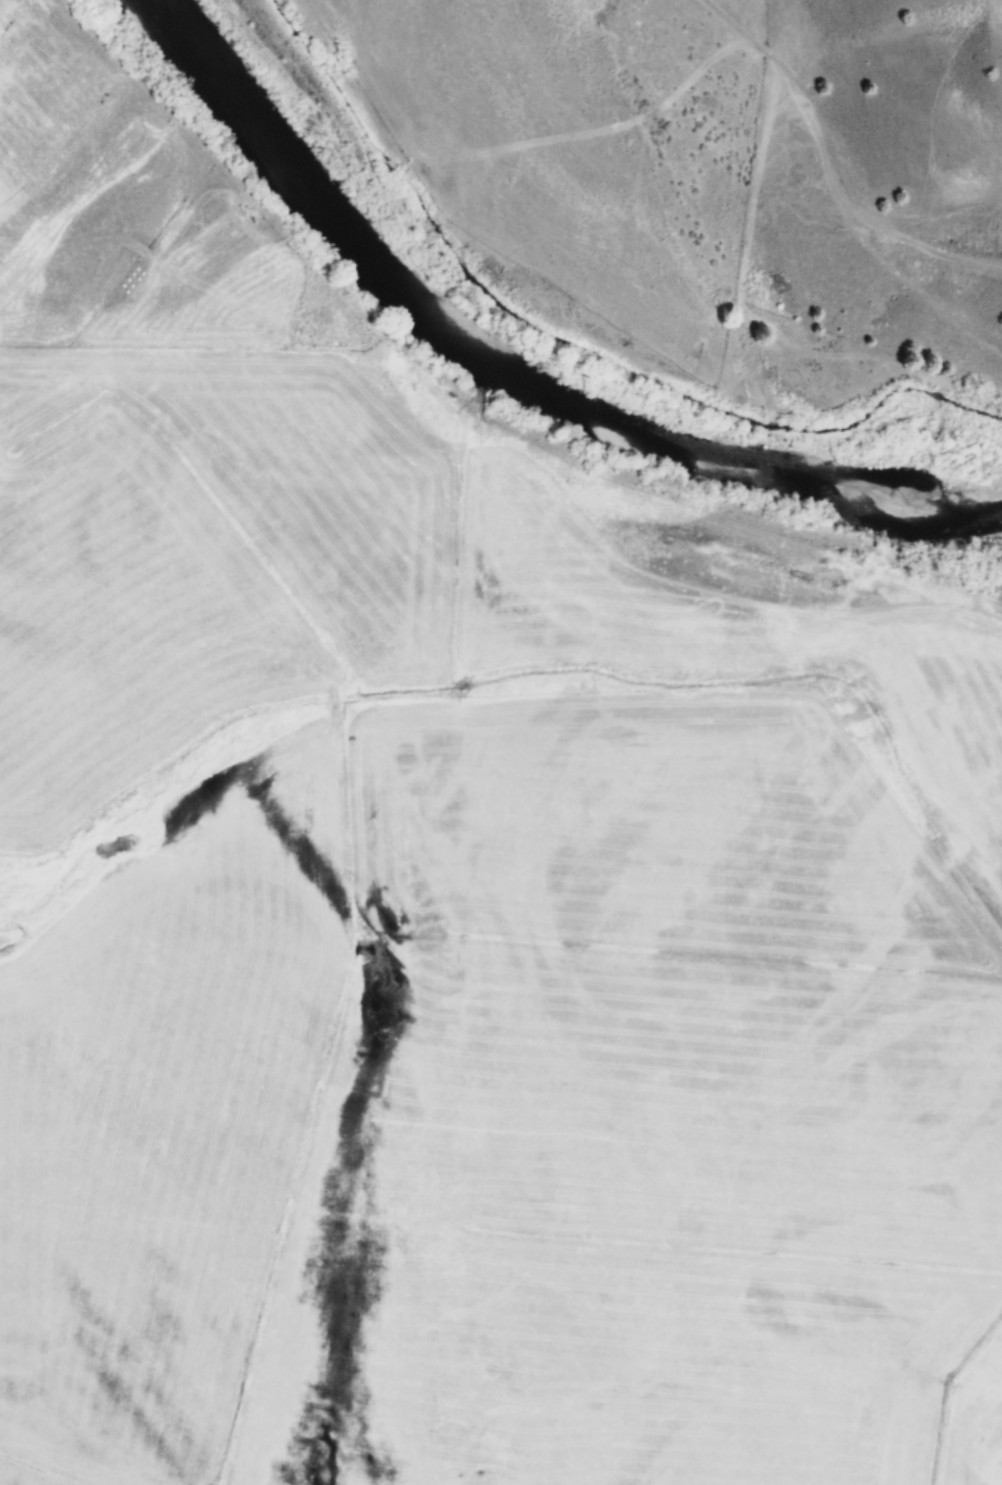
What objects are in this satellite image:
river: (503, 380)

